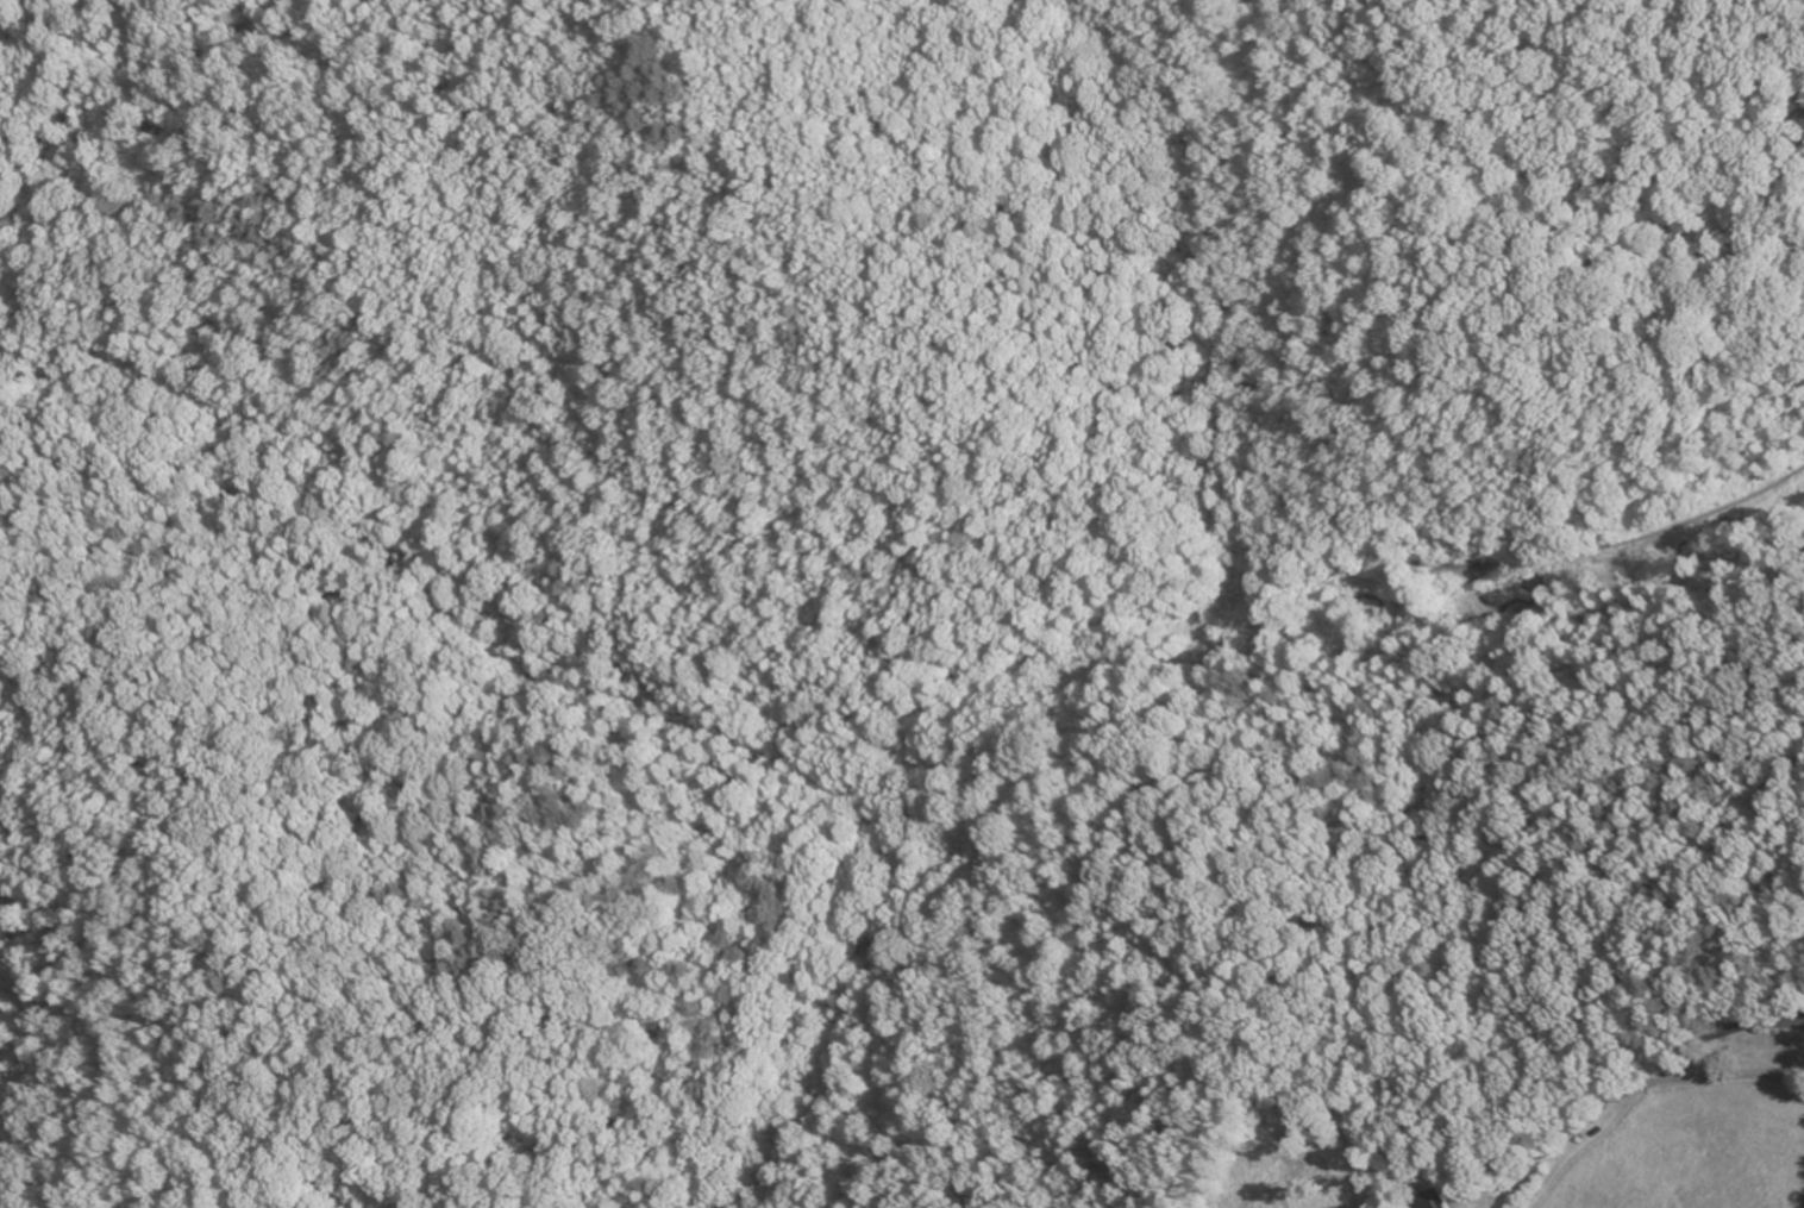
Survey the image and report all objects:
road: (1684, 1163)

